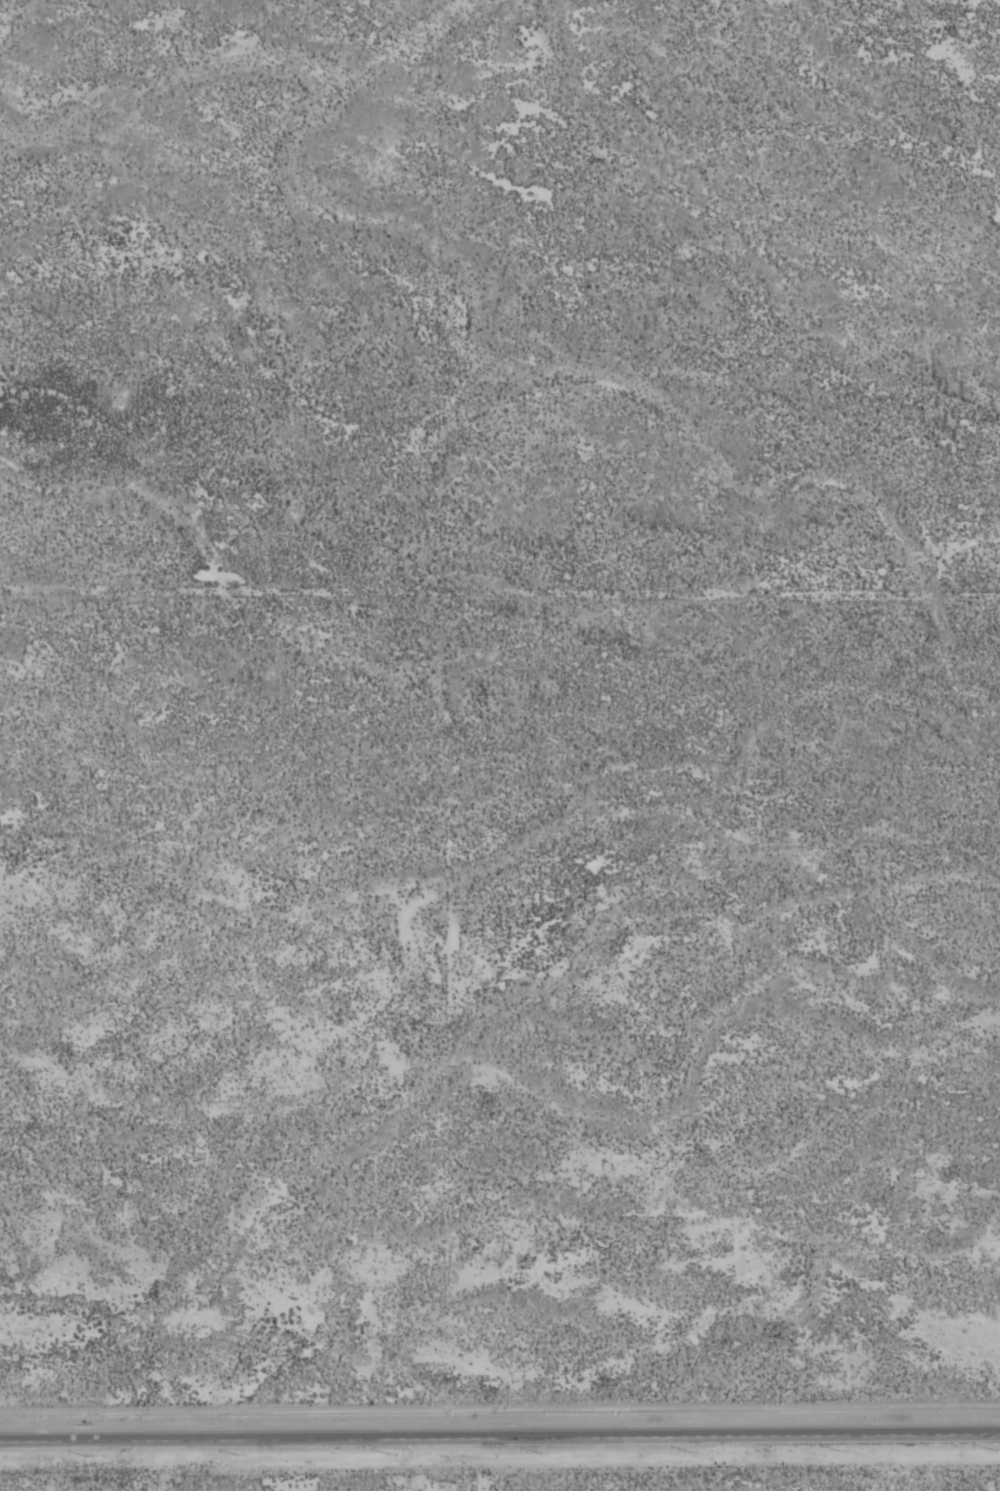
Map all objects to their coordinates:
road: (500, 1443)

